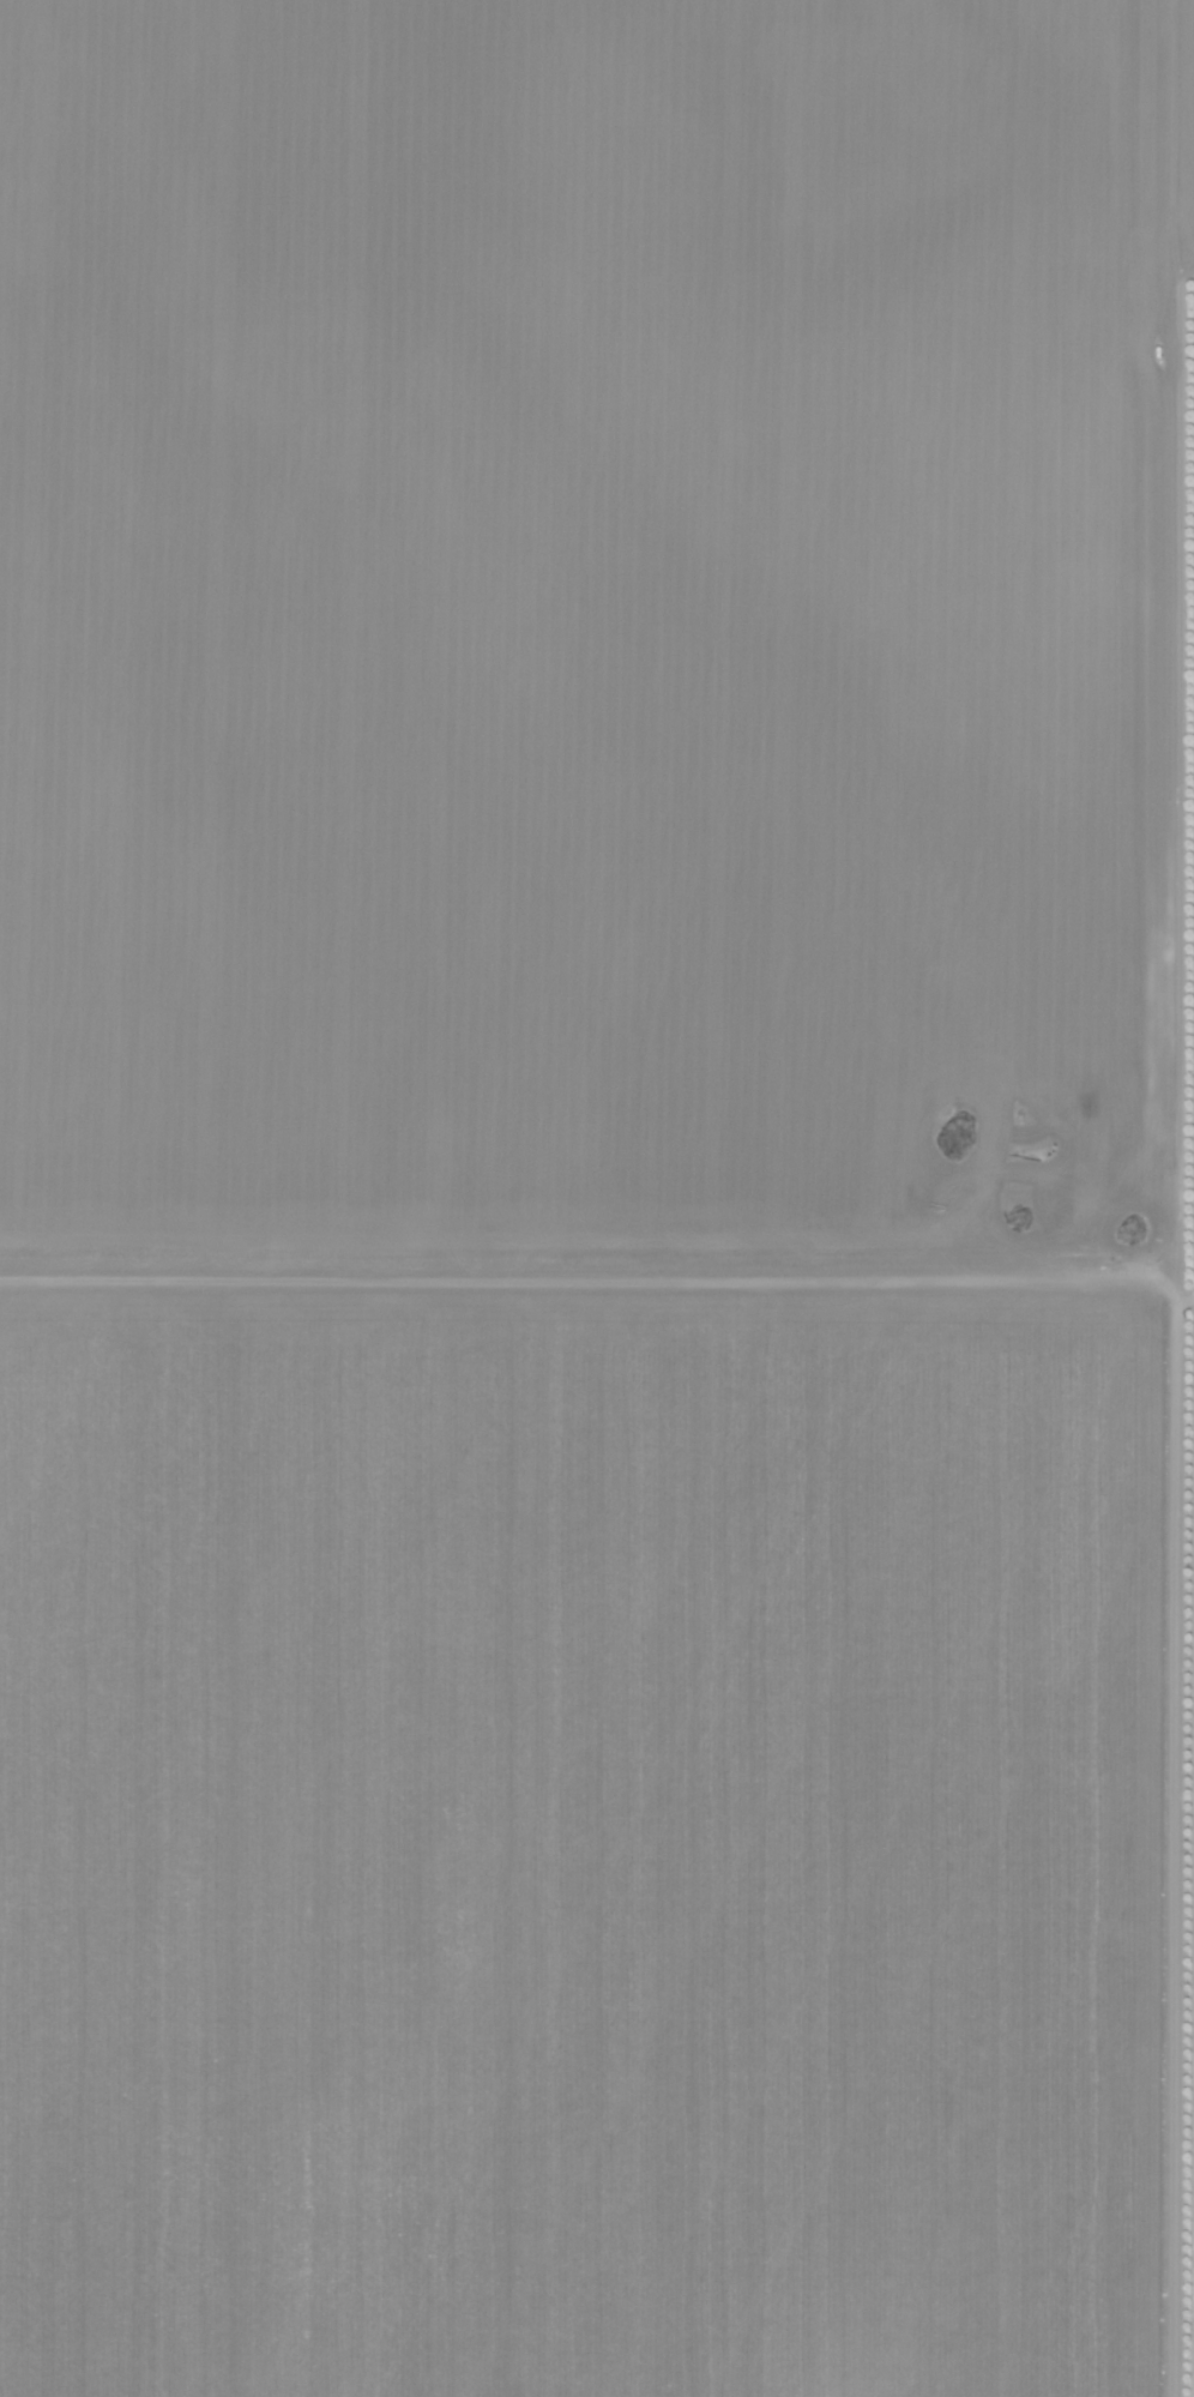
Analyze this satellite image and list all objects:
crop: (587, 644)
road: (597, 1291)
crop: (580, 1843)

